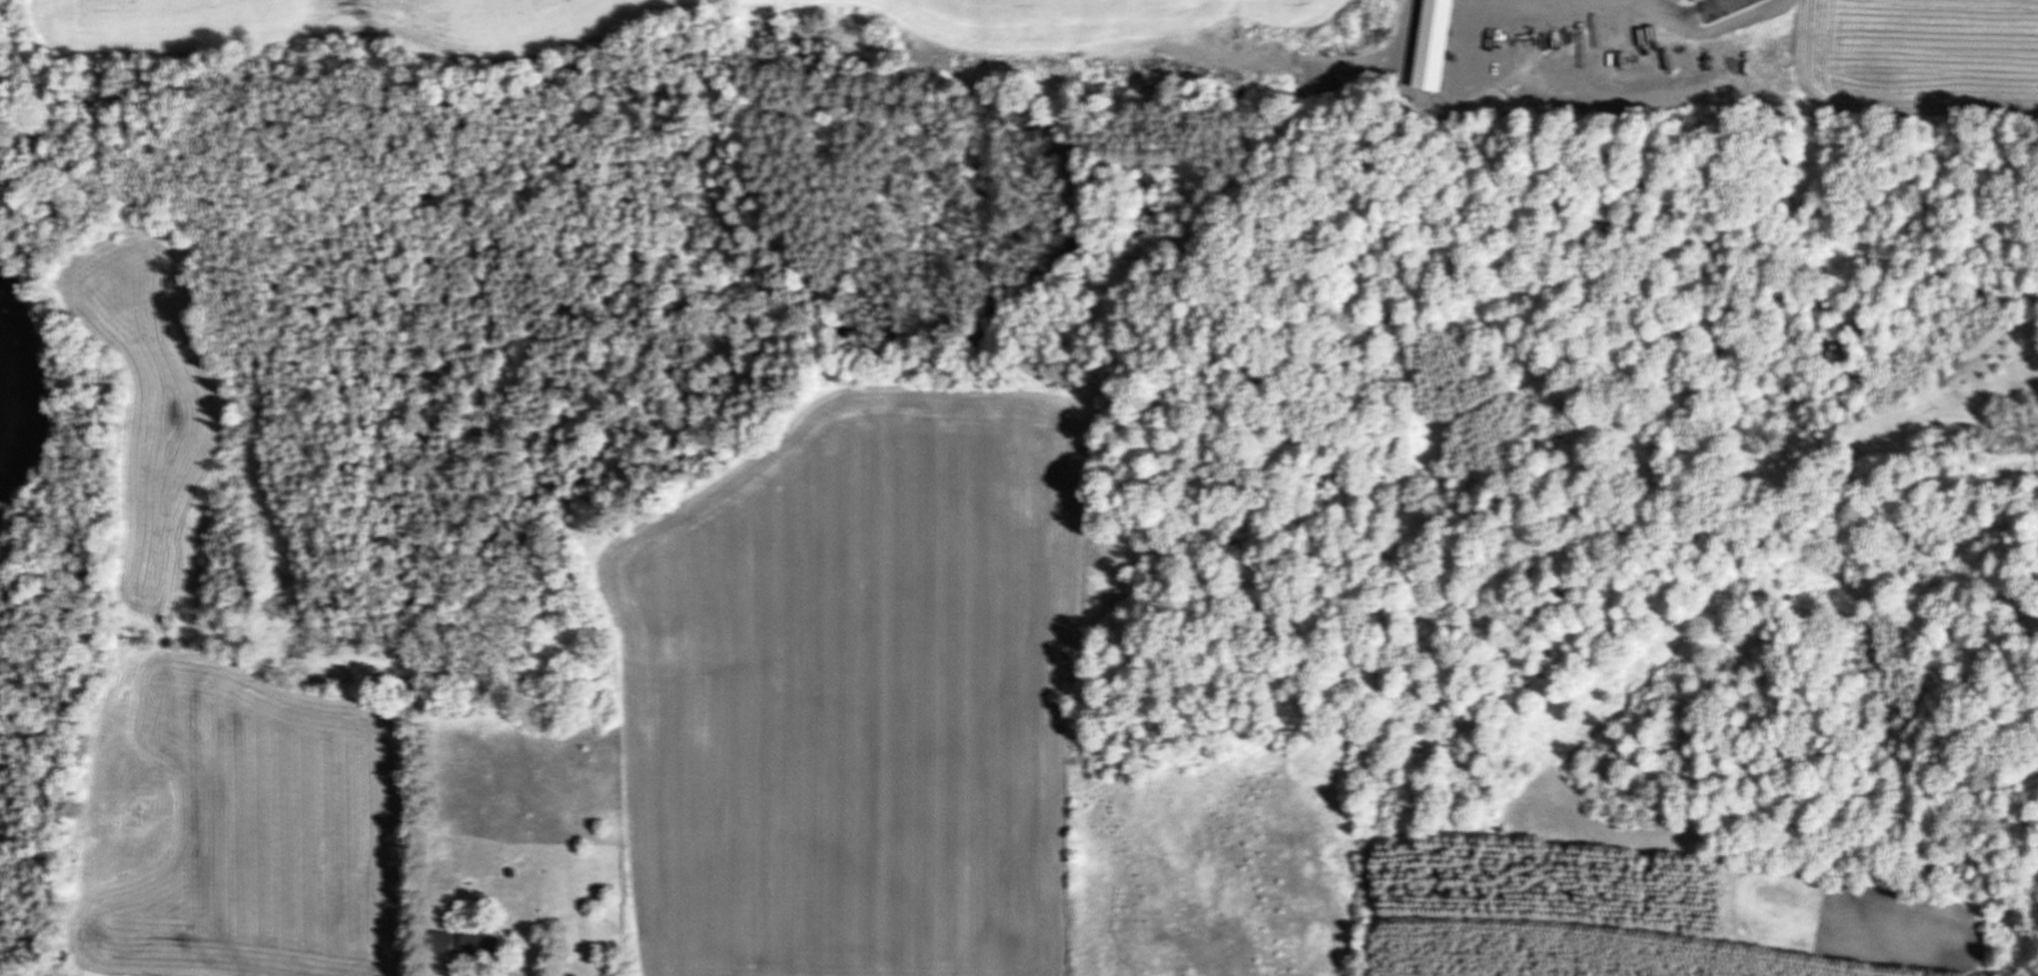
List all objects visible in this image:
river: (0, 380)
building: (468, 944)

